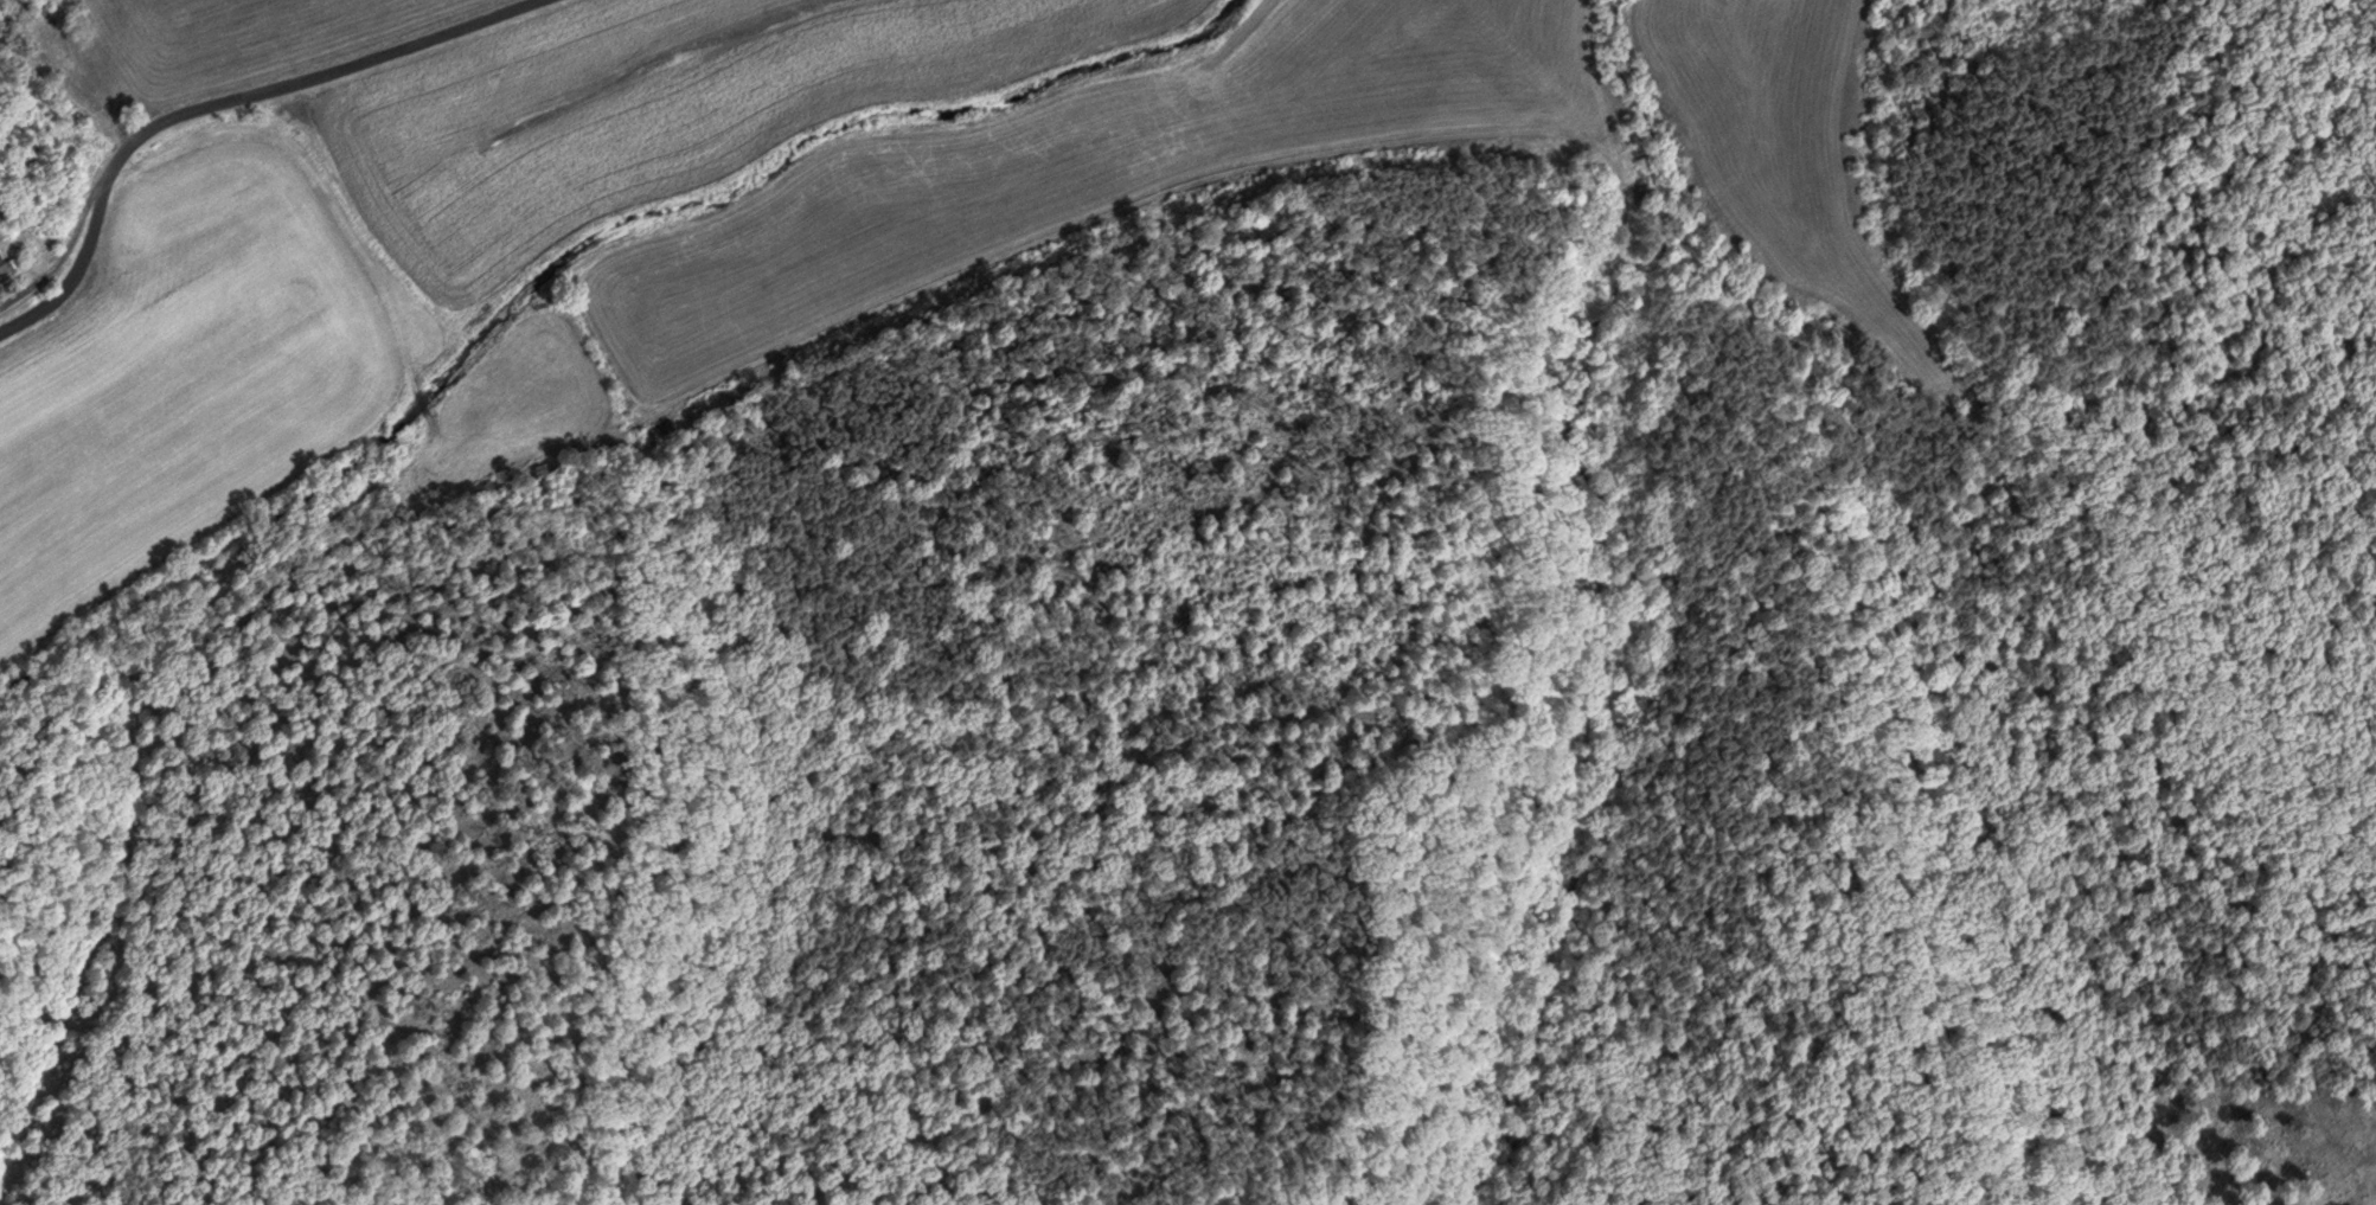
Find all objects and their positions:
road: (205, 104)
road: (62, 257)
building: (9, 264)

